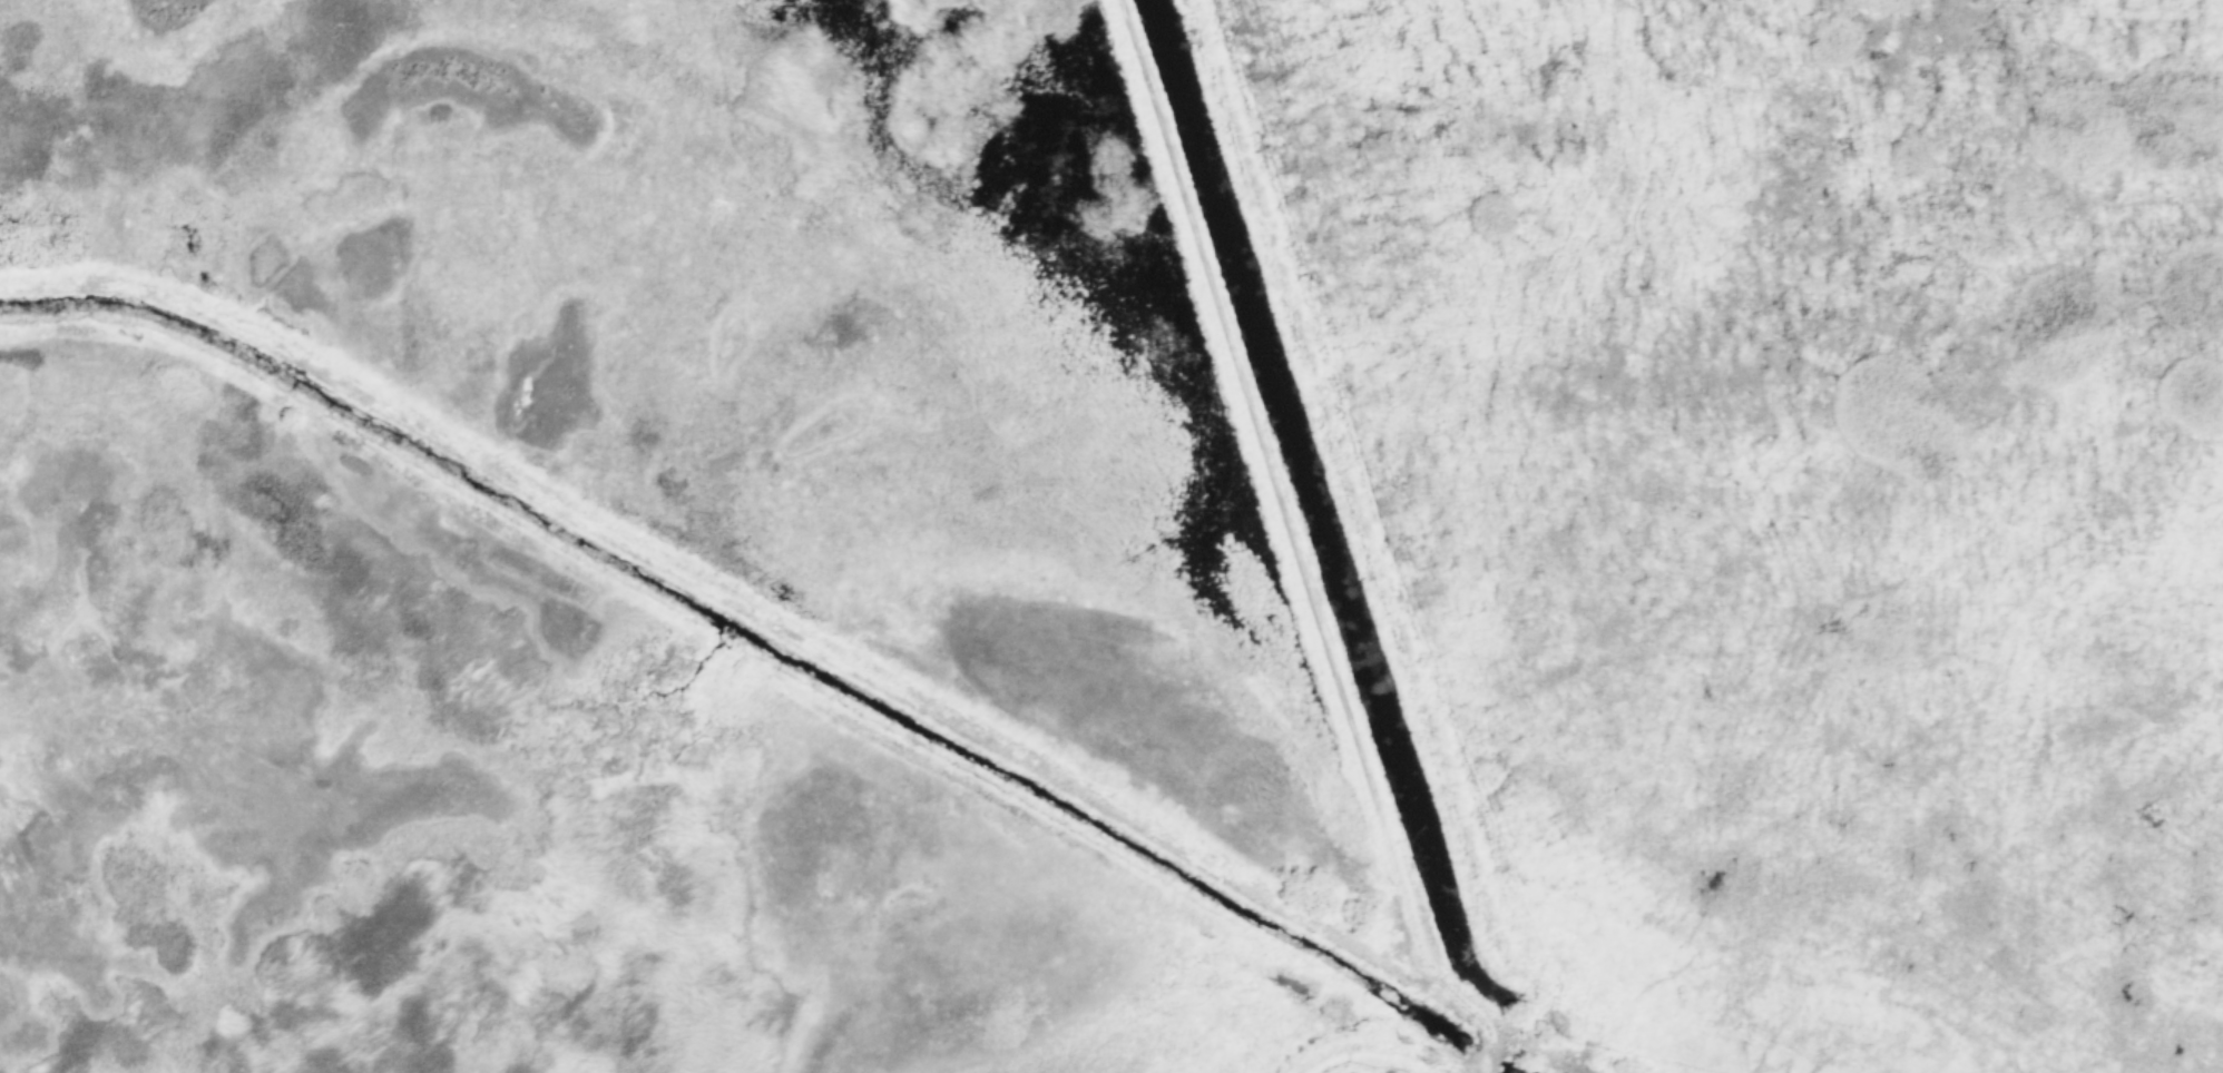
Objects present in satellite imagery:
road: (1423, 953)

